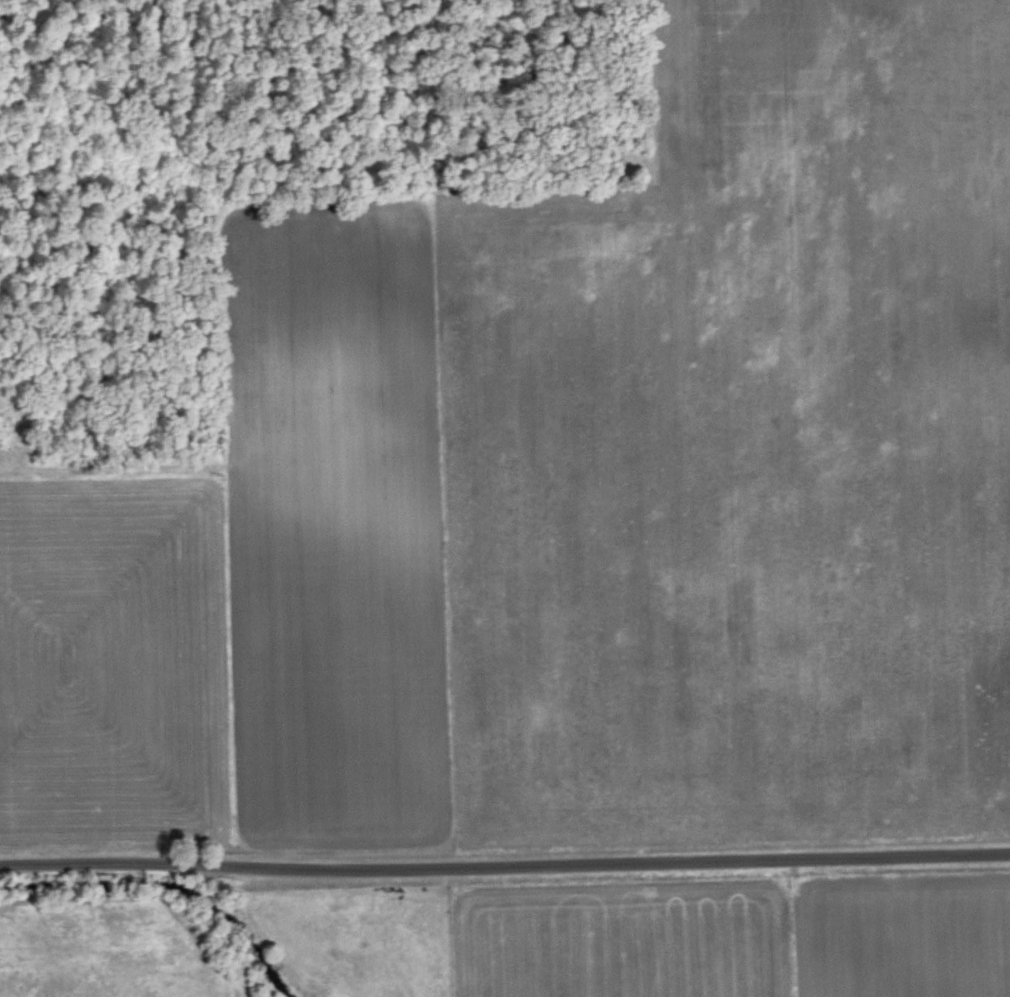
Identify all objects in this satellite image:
road: (504, 864)

